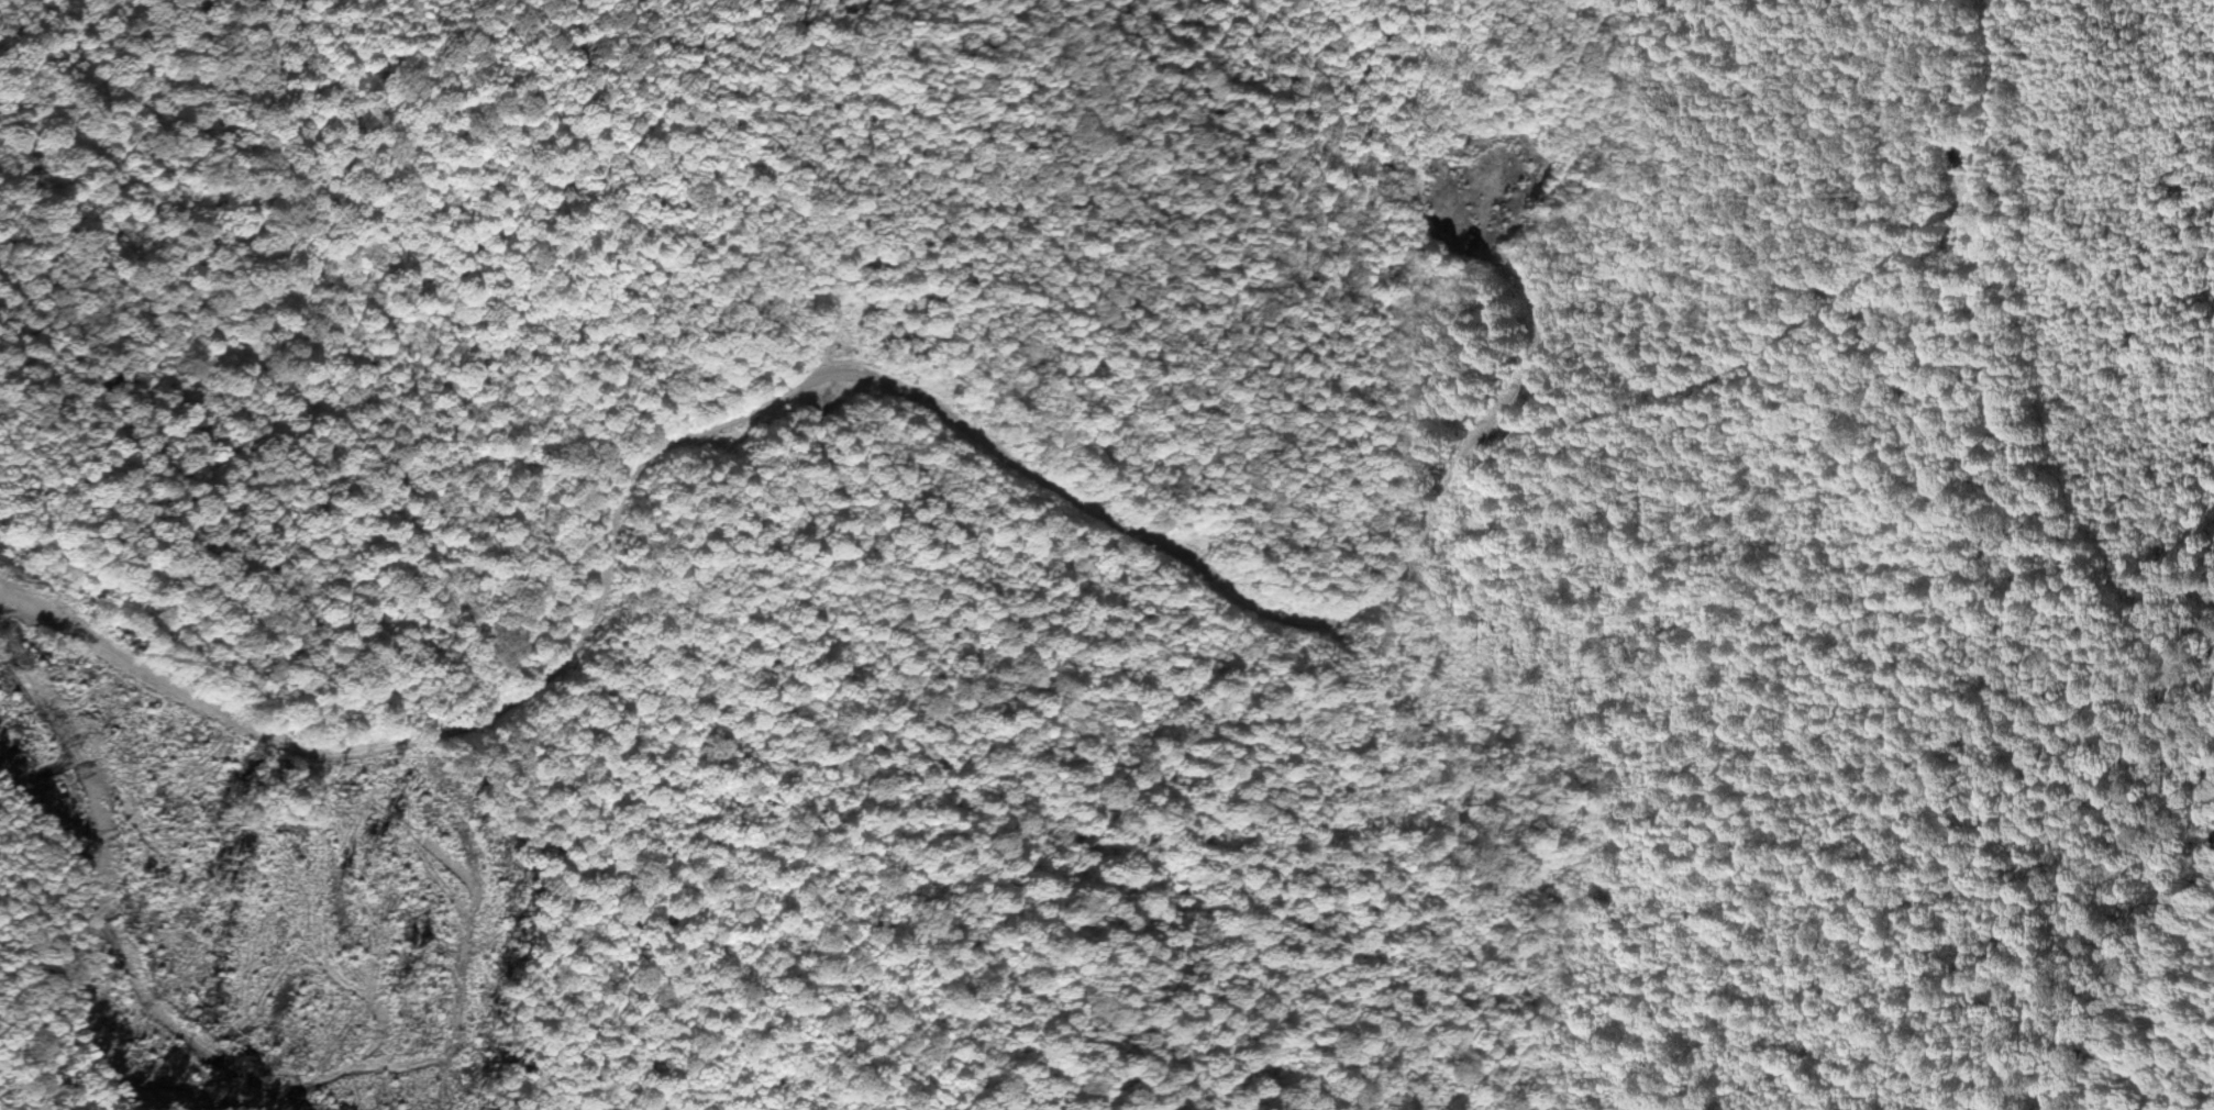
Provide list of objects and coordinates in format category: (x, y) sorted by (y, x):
road: (1333, 293)
road: (966, 335)

